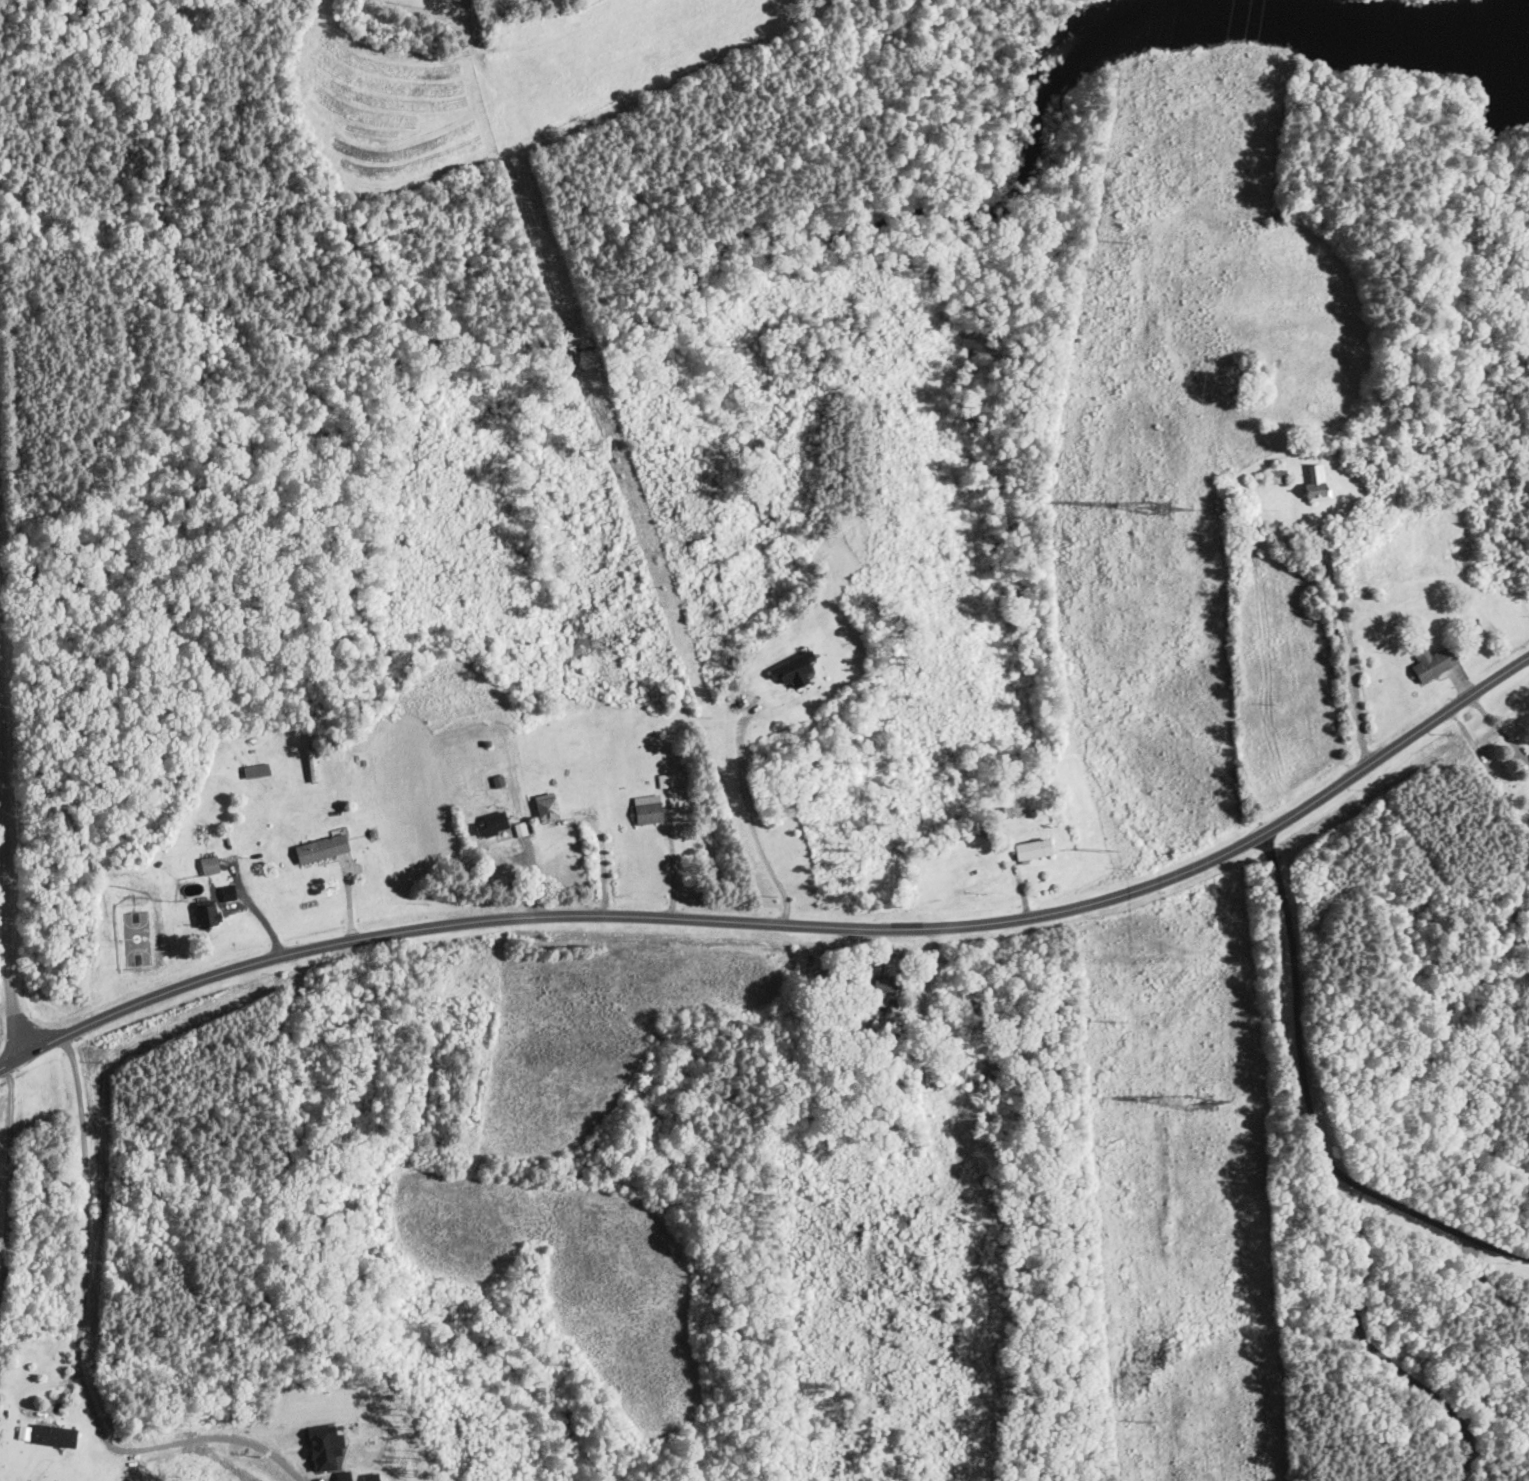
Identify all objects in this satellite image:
power tower: (1122, 242)
building: (1269, 479)
building: (1318, 484)
power tower: (1073, 505)
power tower: (1167, 505)
road: (1346, 660)
building: (1435, 664)
building: (797, 672)
building: (312, 767)
building: (257, 772)
building: (547, 808)
building: (650, 814)
building: (493, 826)
road: (10, 827)
building: (520, 830)
building: (324, 850)
building: (1035, 850)
power tower: (1105, 851)
building: (210, 863)
building: (209, 915)
road: (786, 928)
building: (885, 984)
road: (1291, 1015)
power tower: (1123, 1020)
power tower: (1203, 1095)
power tower: (1148, 1423)
building: (48, 1436)

